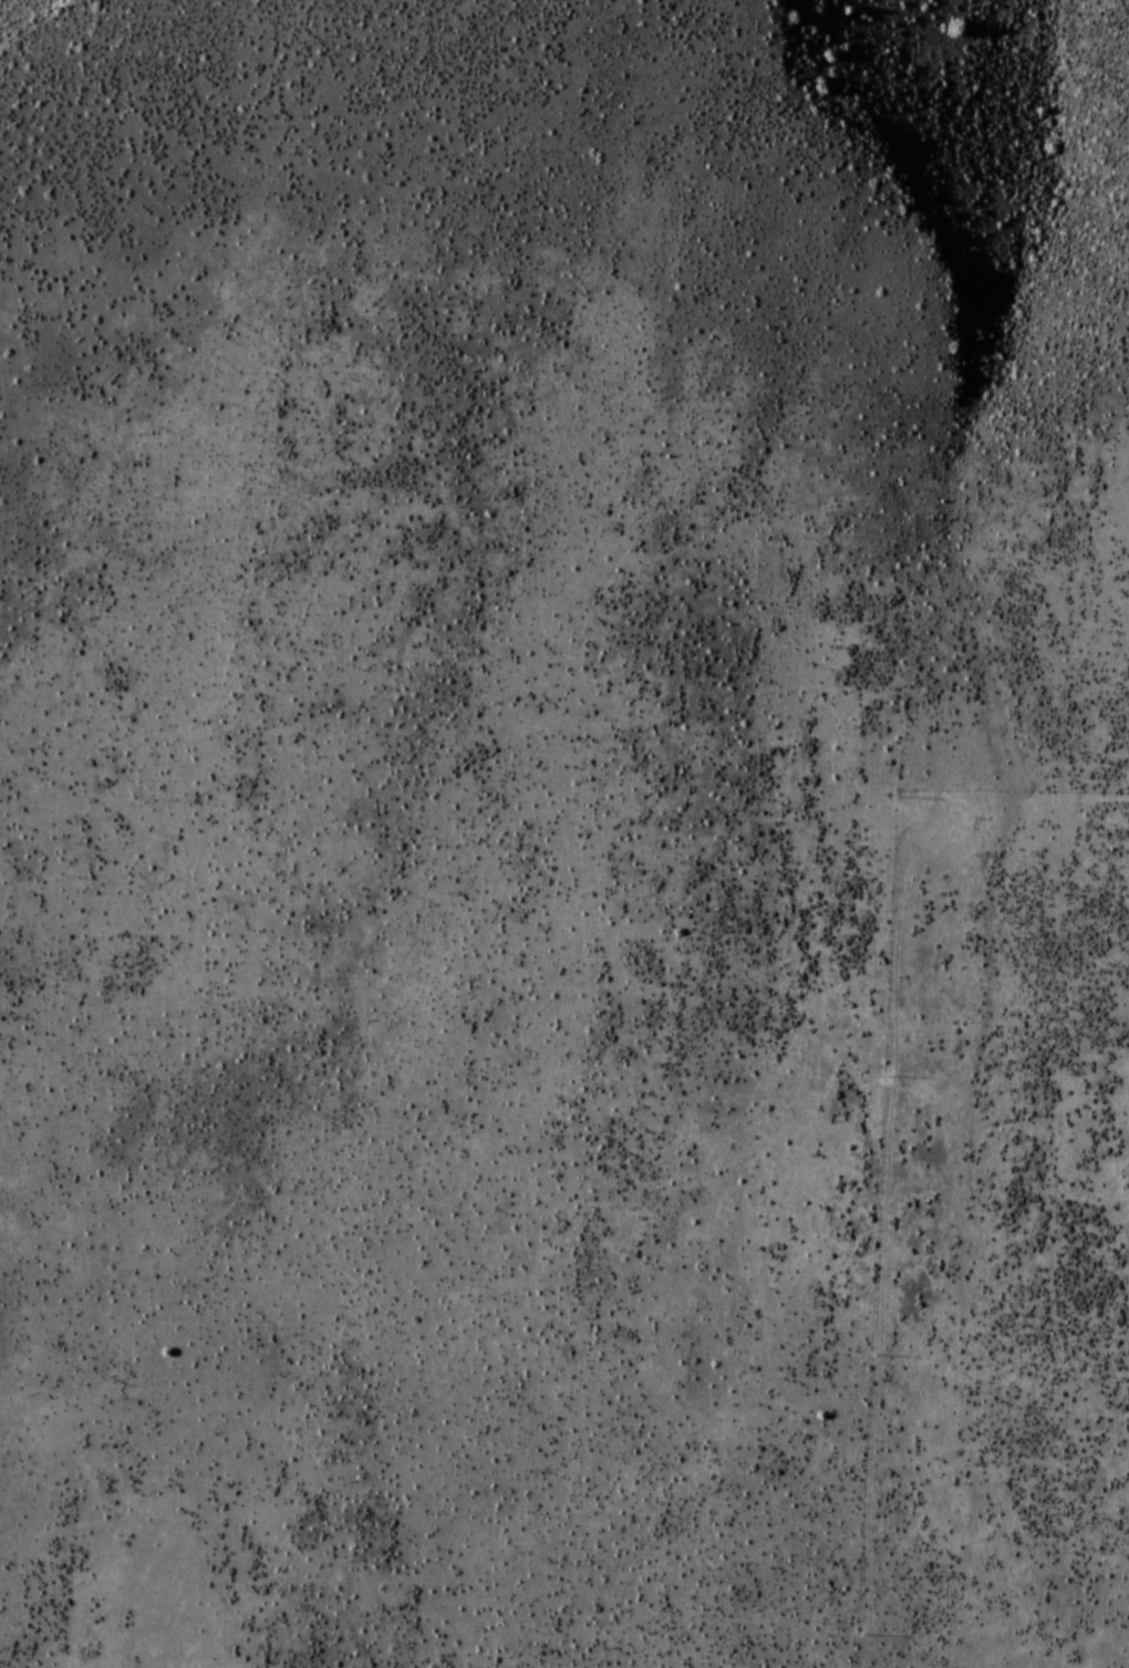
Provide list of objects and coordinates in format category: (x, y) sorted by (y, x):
road: (996, 786)

